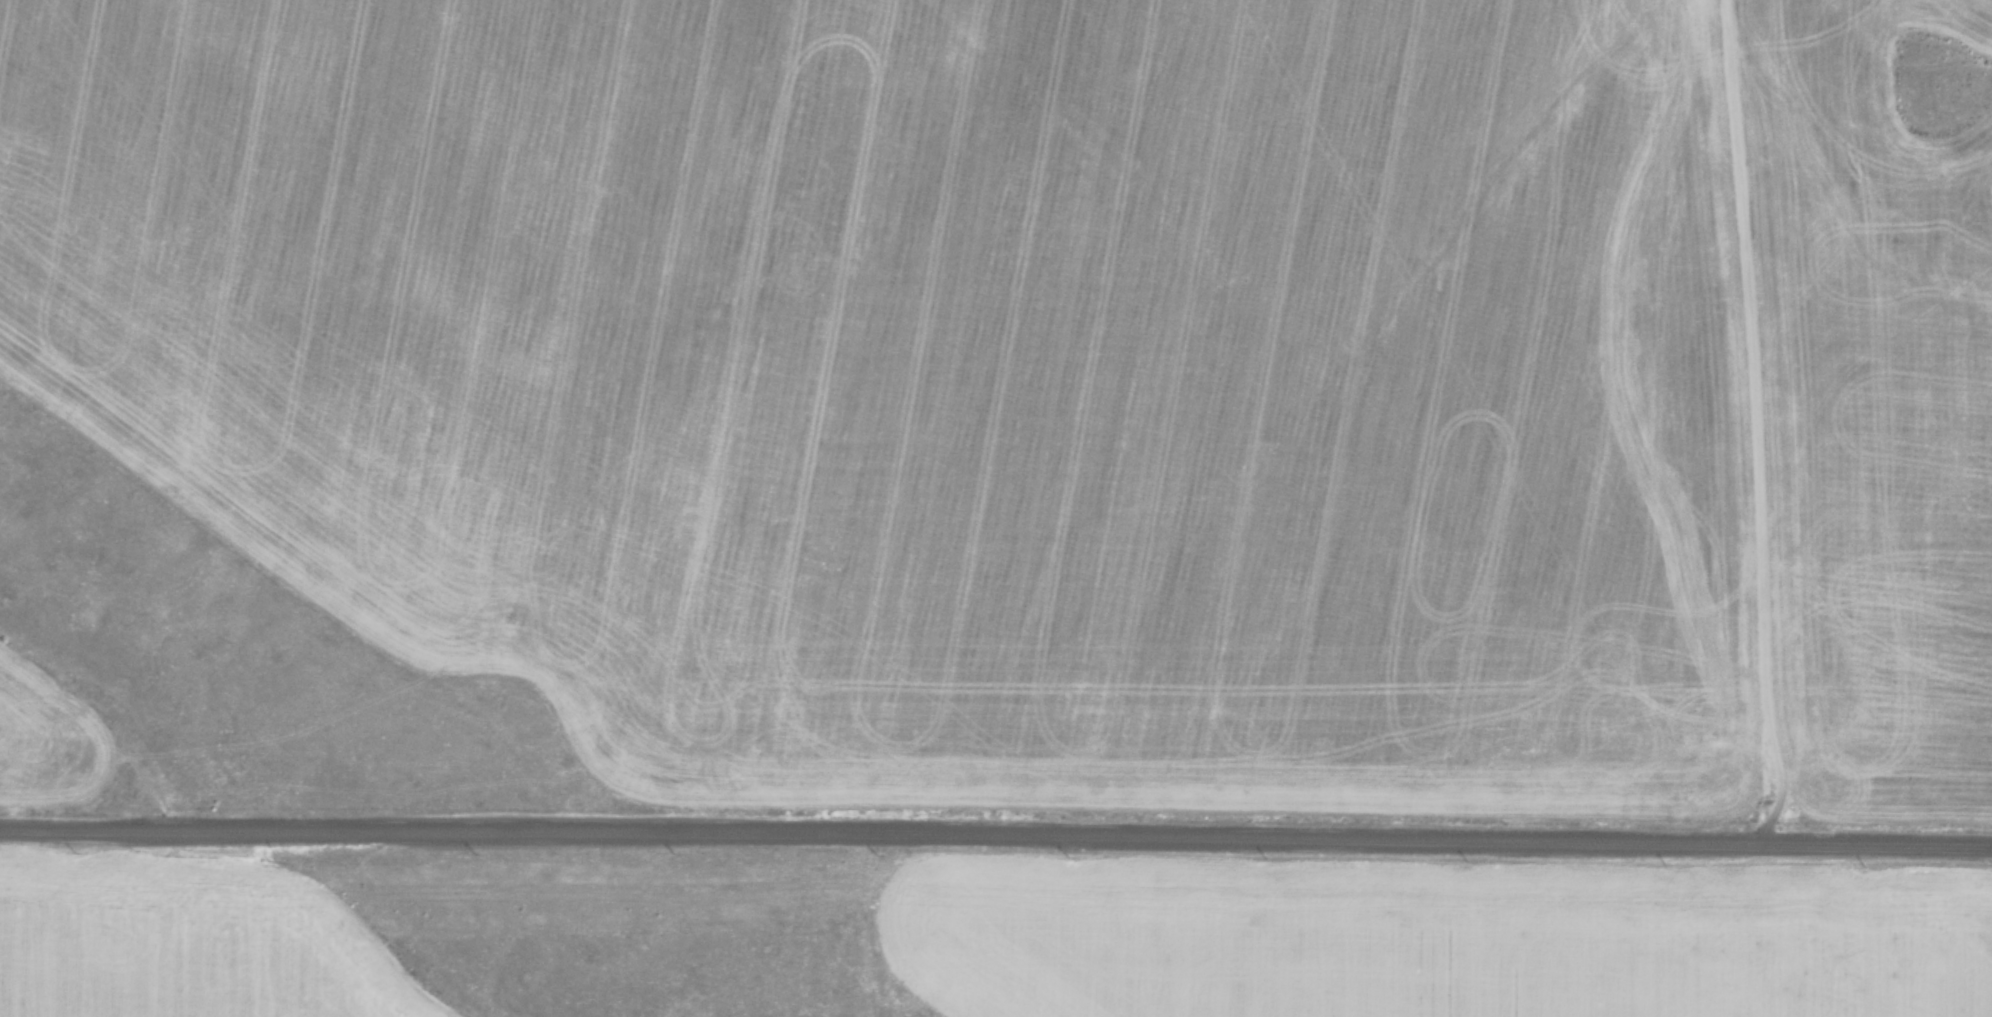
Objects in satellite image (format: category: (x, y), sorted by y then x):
road: (1754, 422)
road: (996, 827)

